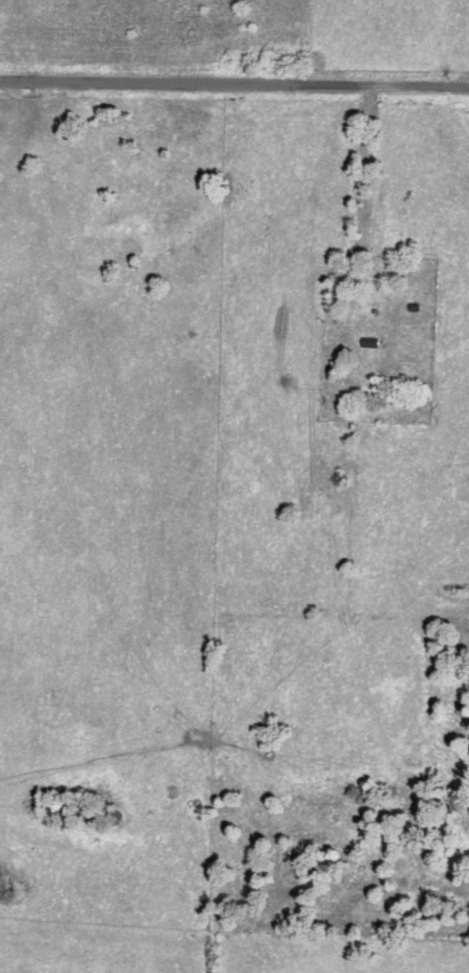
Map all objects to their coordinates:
road: (234, 82)
building: (385, 319)

